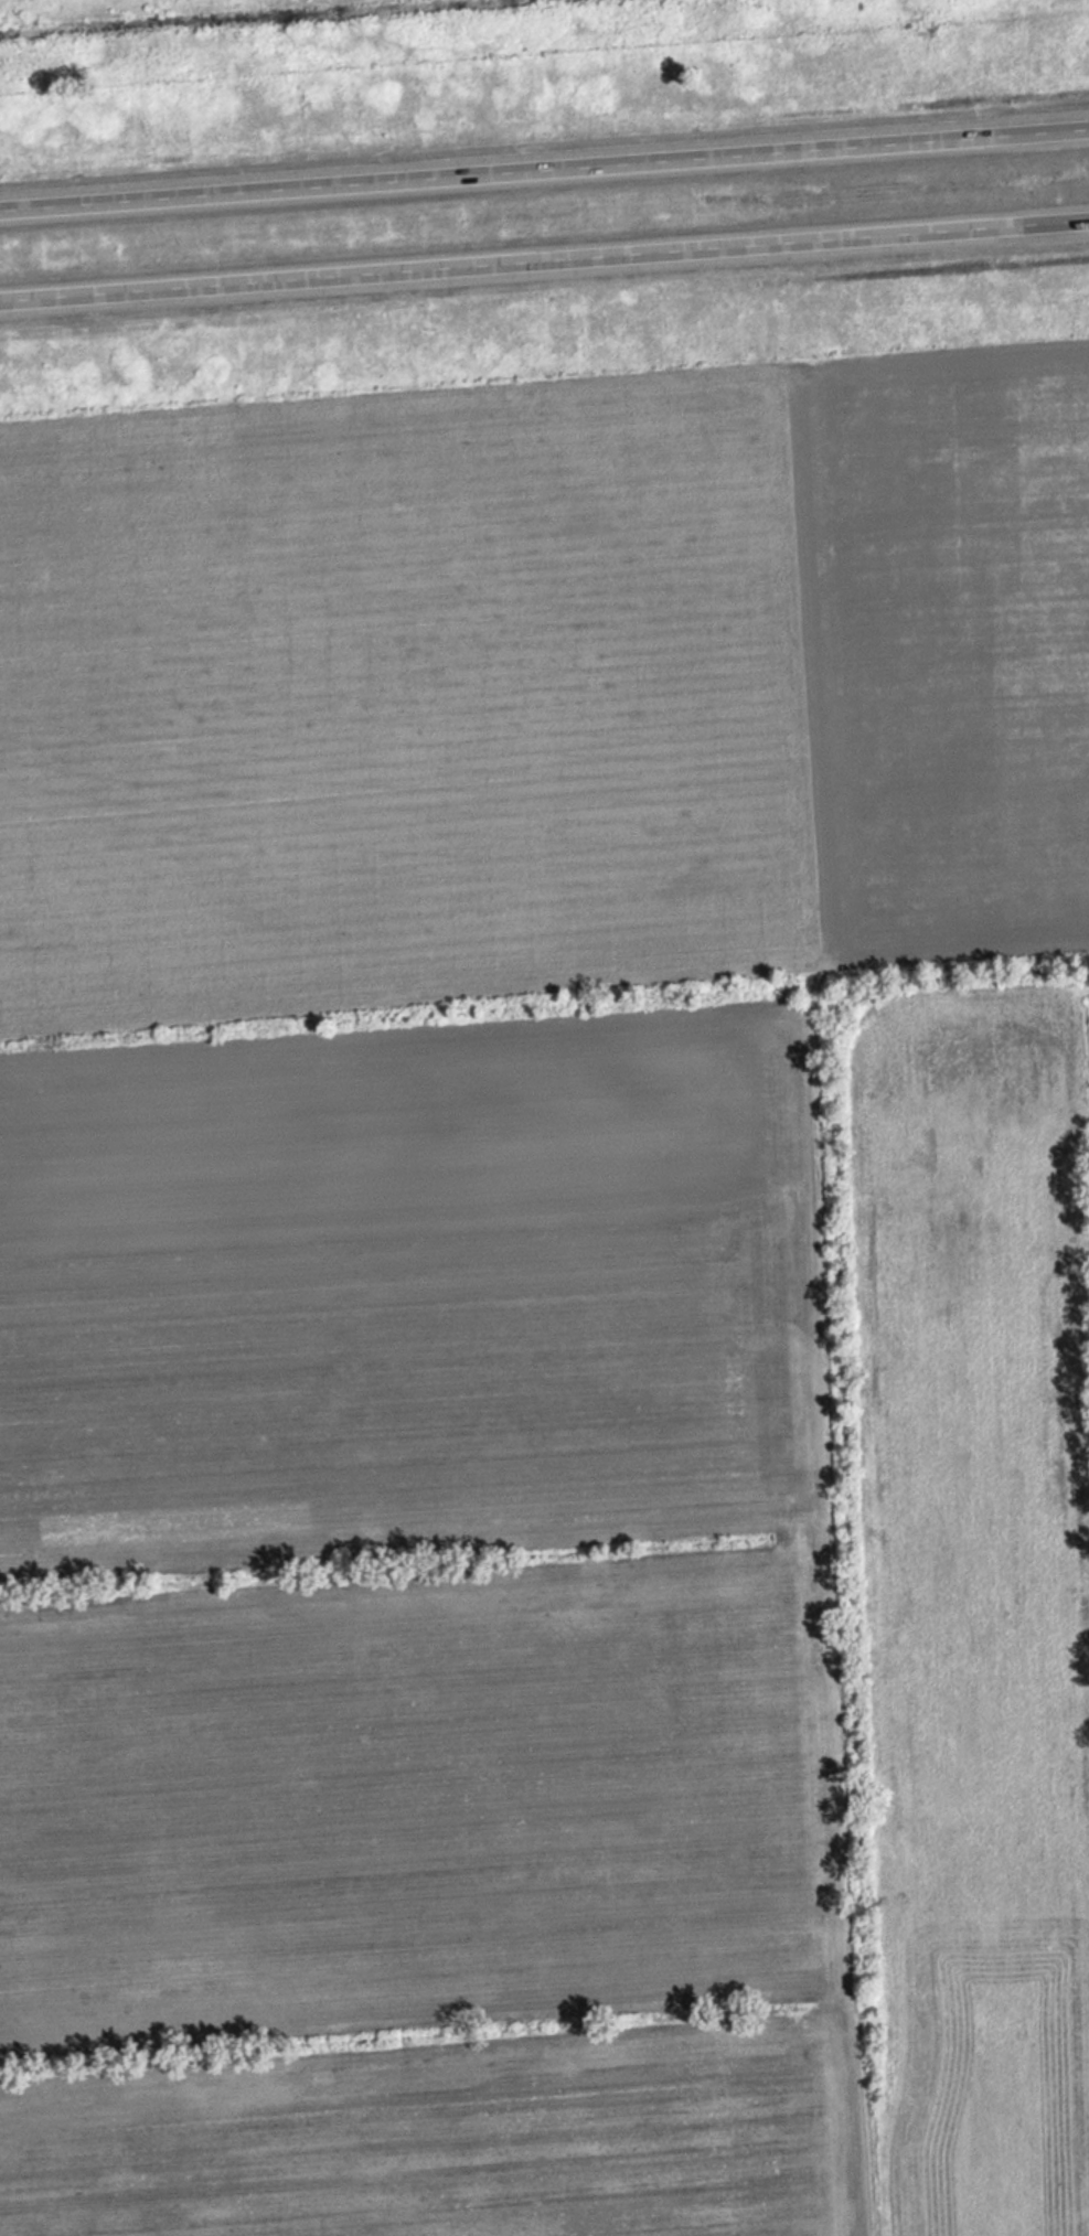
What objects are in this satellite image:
road: (544, 170)
road: (543, 239)

